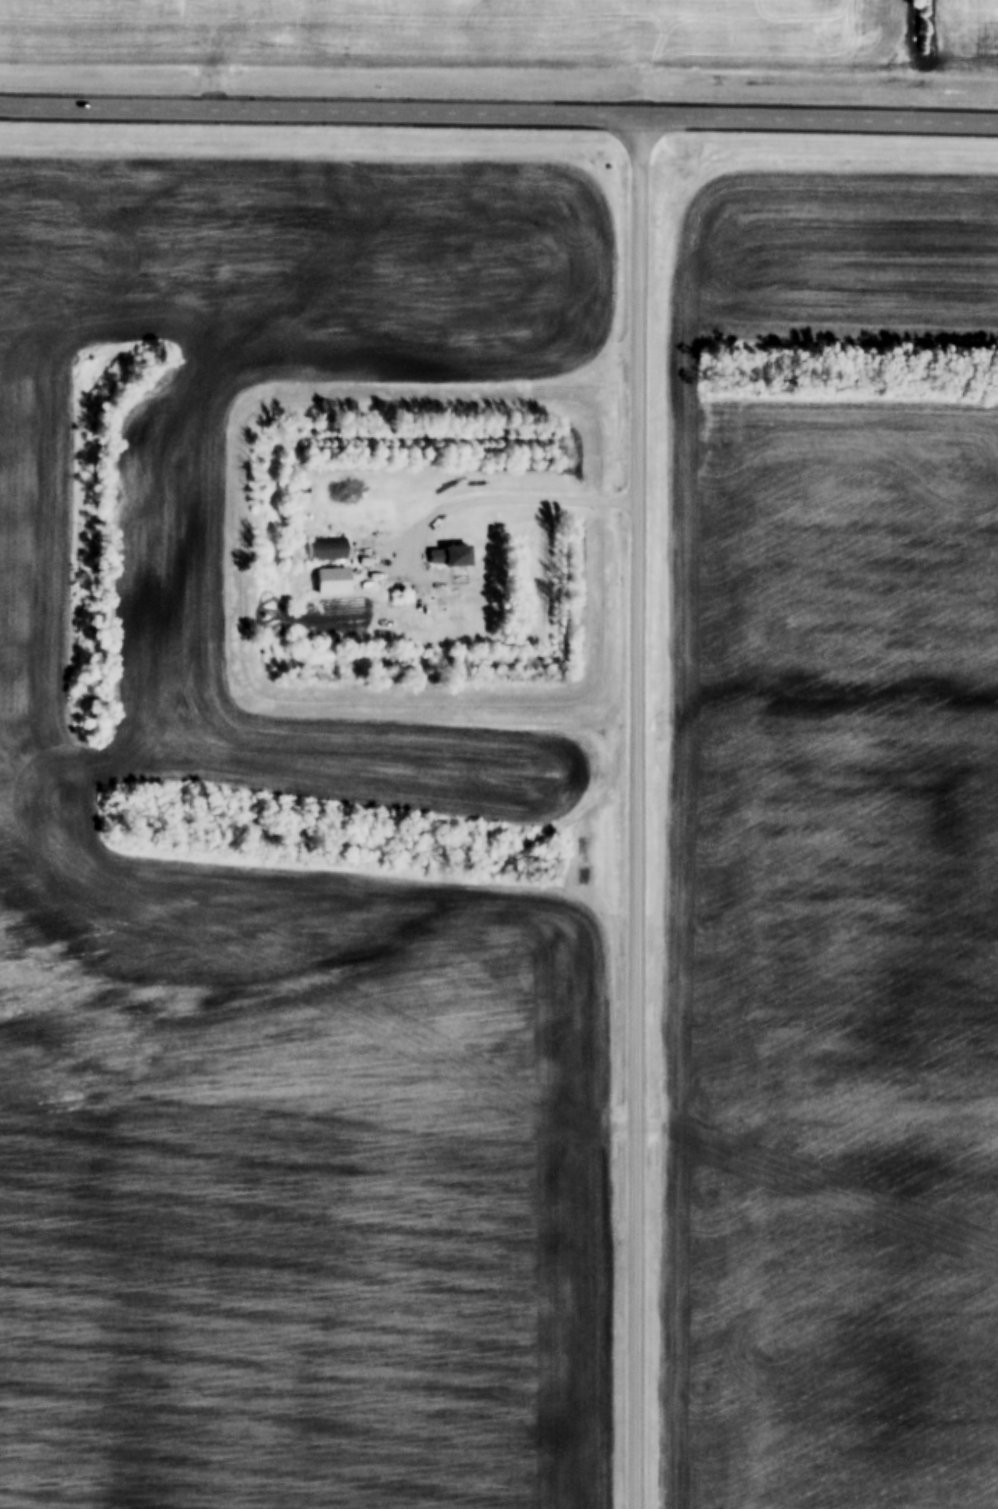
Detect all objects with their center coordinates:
crop: (463, 34)
crop: (961, 37)
road: (498, 118)
building: (174, 439)
silo: (174, 439)
building: (174, 455)
silo: (174, 455)
building: (174, 471)
silo: (174, 471)
building: (174, 487)
silo: (174, 487)
road: (494, 500)
building: (174, 503)
silo: (174, 503)
crop: (36, 545)
building: (324, 545)
building: (449, 553)
building: (329, 578)
road: (642, 814)
crop: (831, 865)
crop: (323, 1235)

